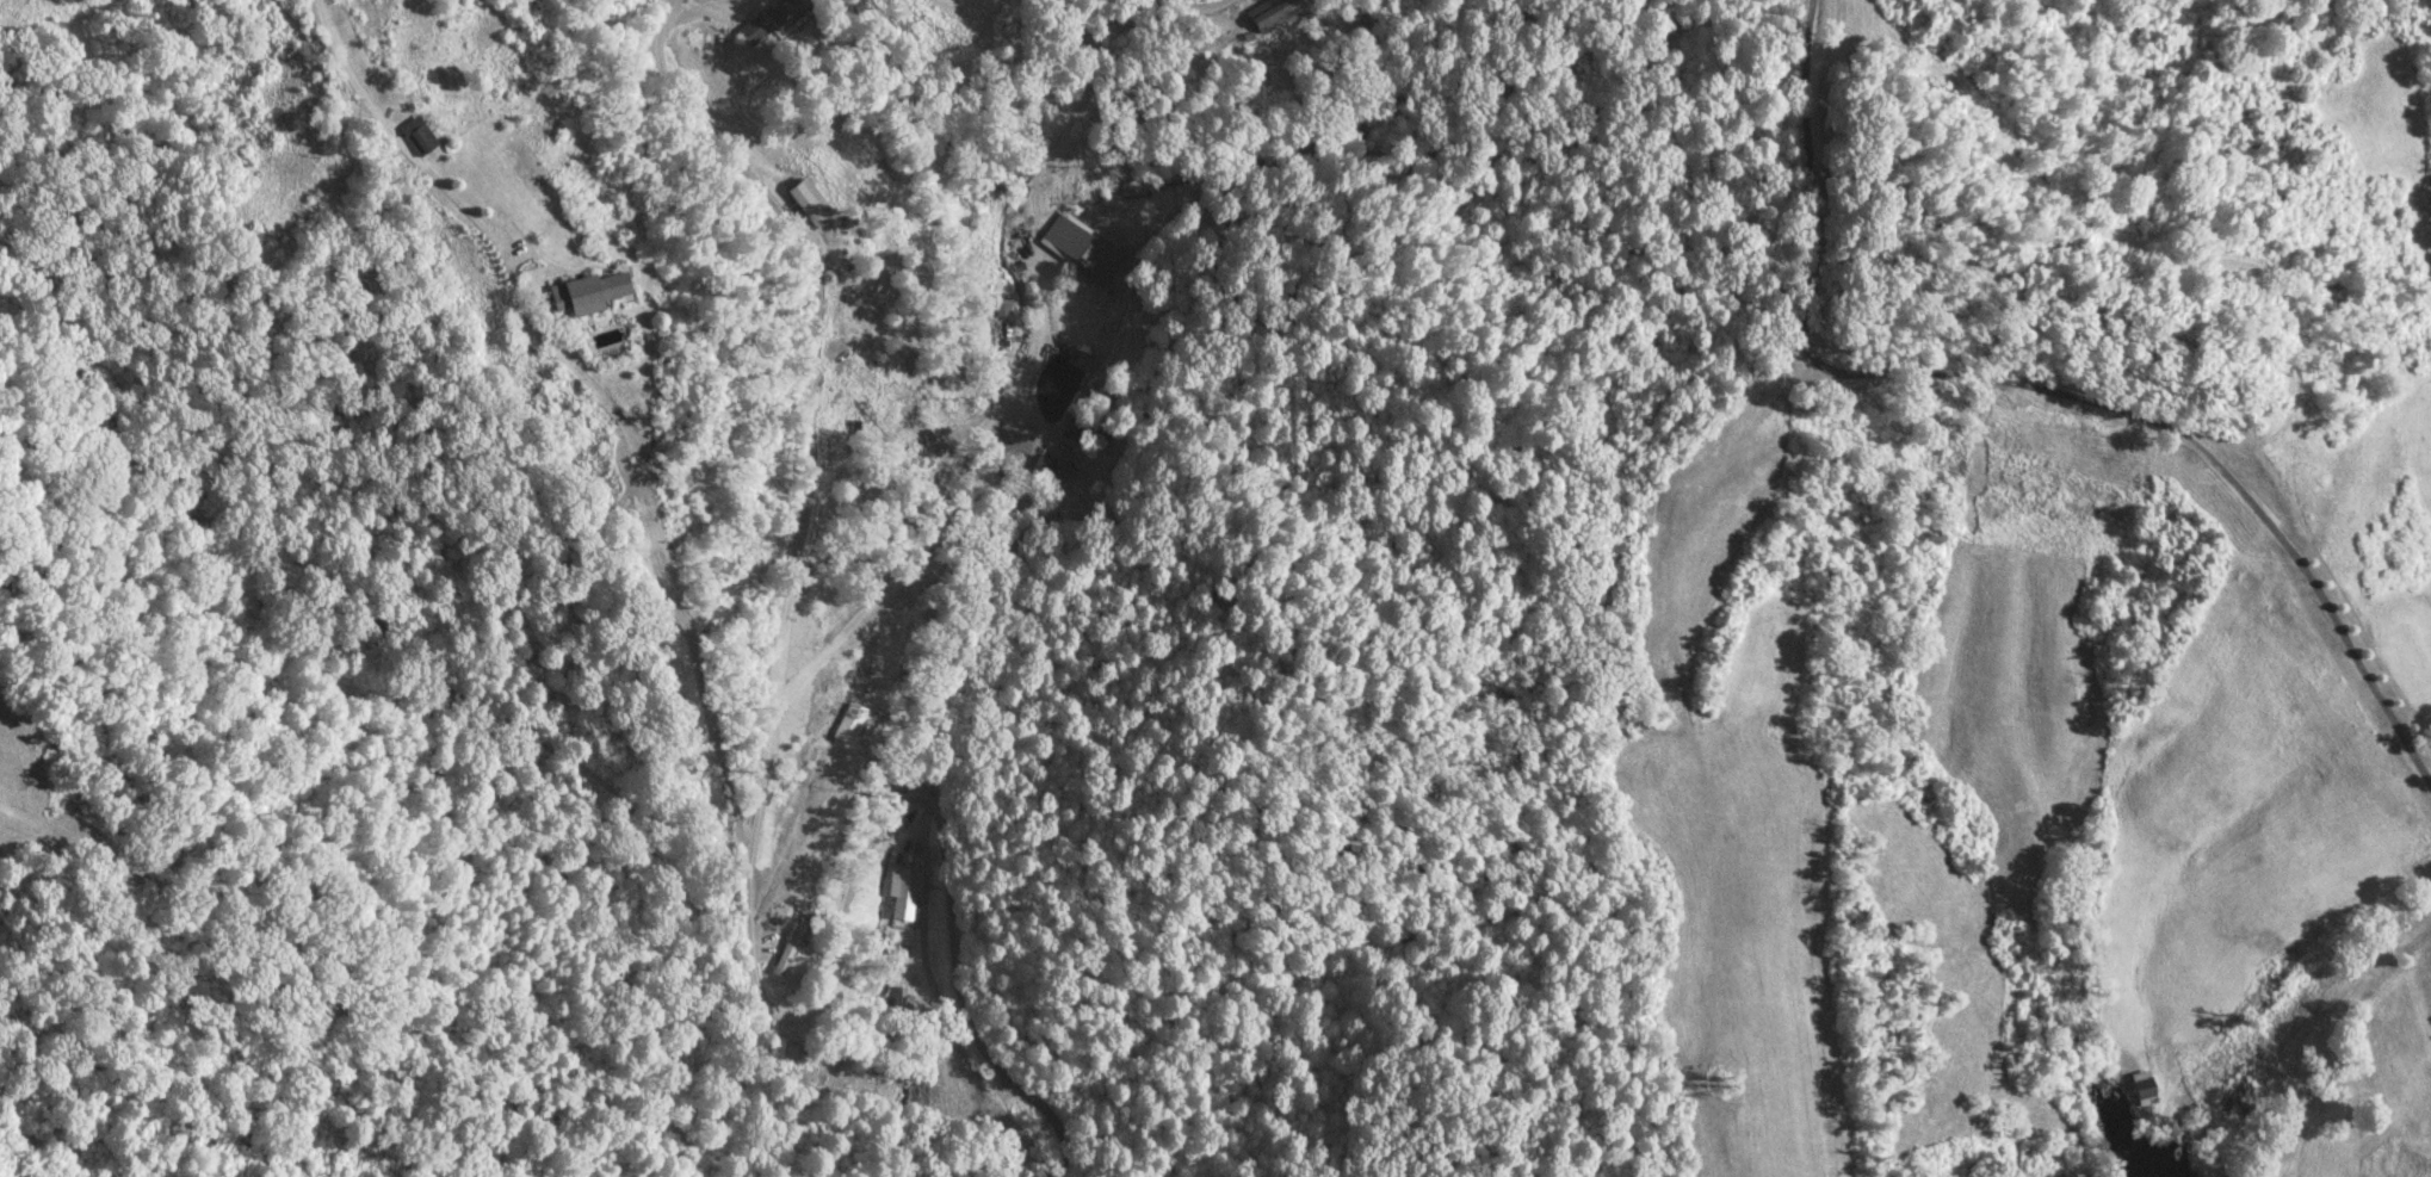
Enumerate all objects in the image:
road: (1195, 6)
building: (780, 12)
building: (751, 30)
building: (414, 136)
building: (805, 200)
building: (1091, 260)
building: (586, 291)
building: (1003, 308)
building: (848, 316)
road: (2035, 392)
road: (957, 520)
building: (823, 830)
road: (751, 840)
building: (904, 891)
building: (784, 950)
building: (2141, 1086)

